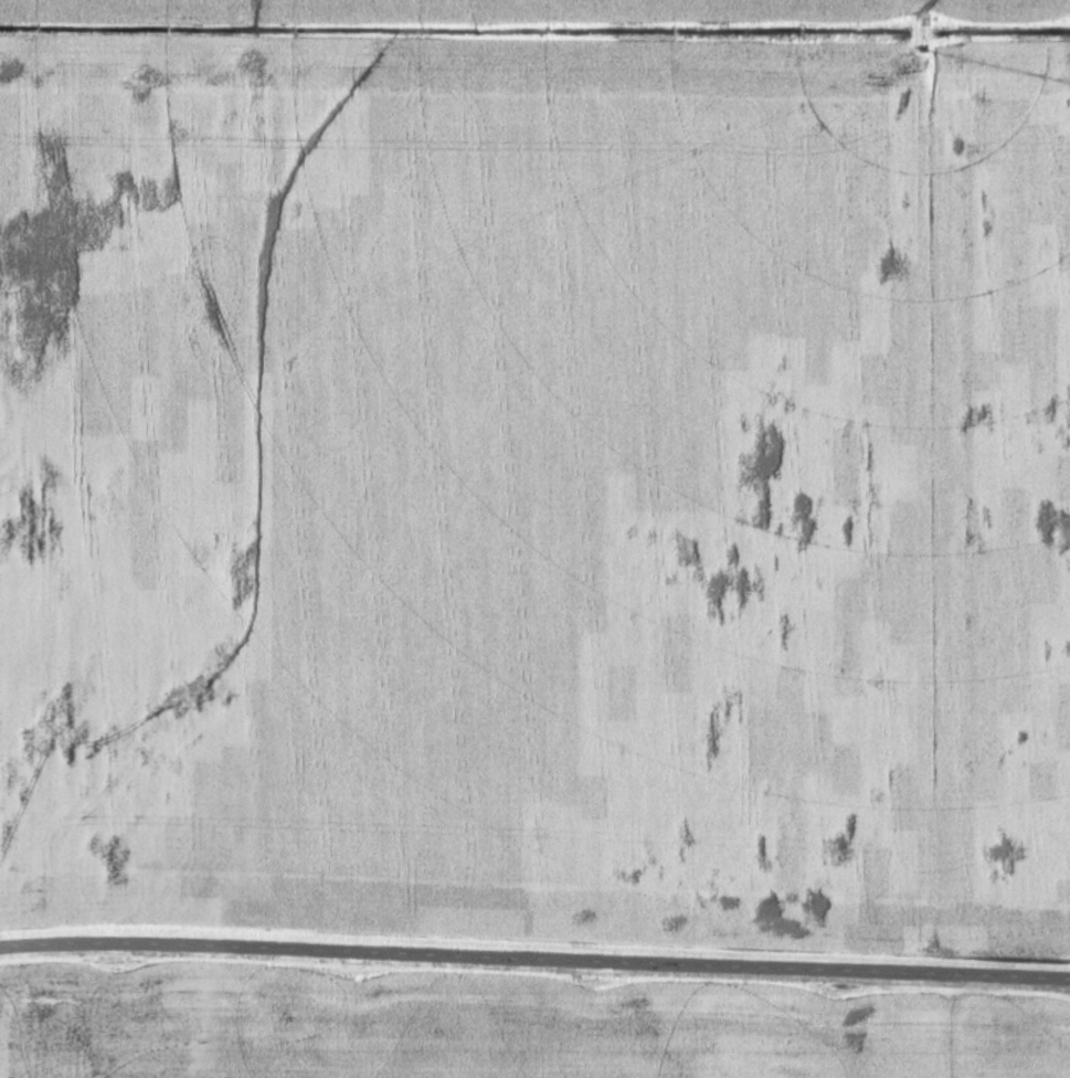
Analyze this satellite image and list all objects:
road: (534, 958)

